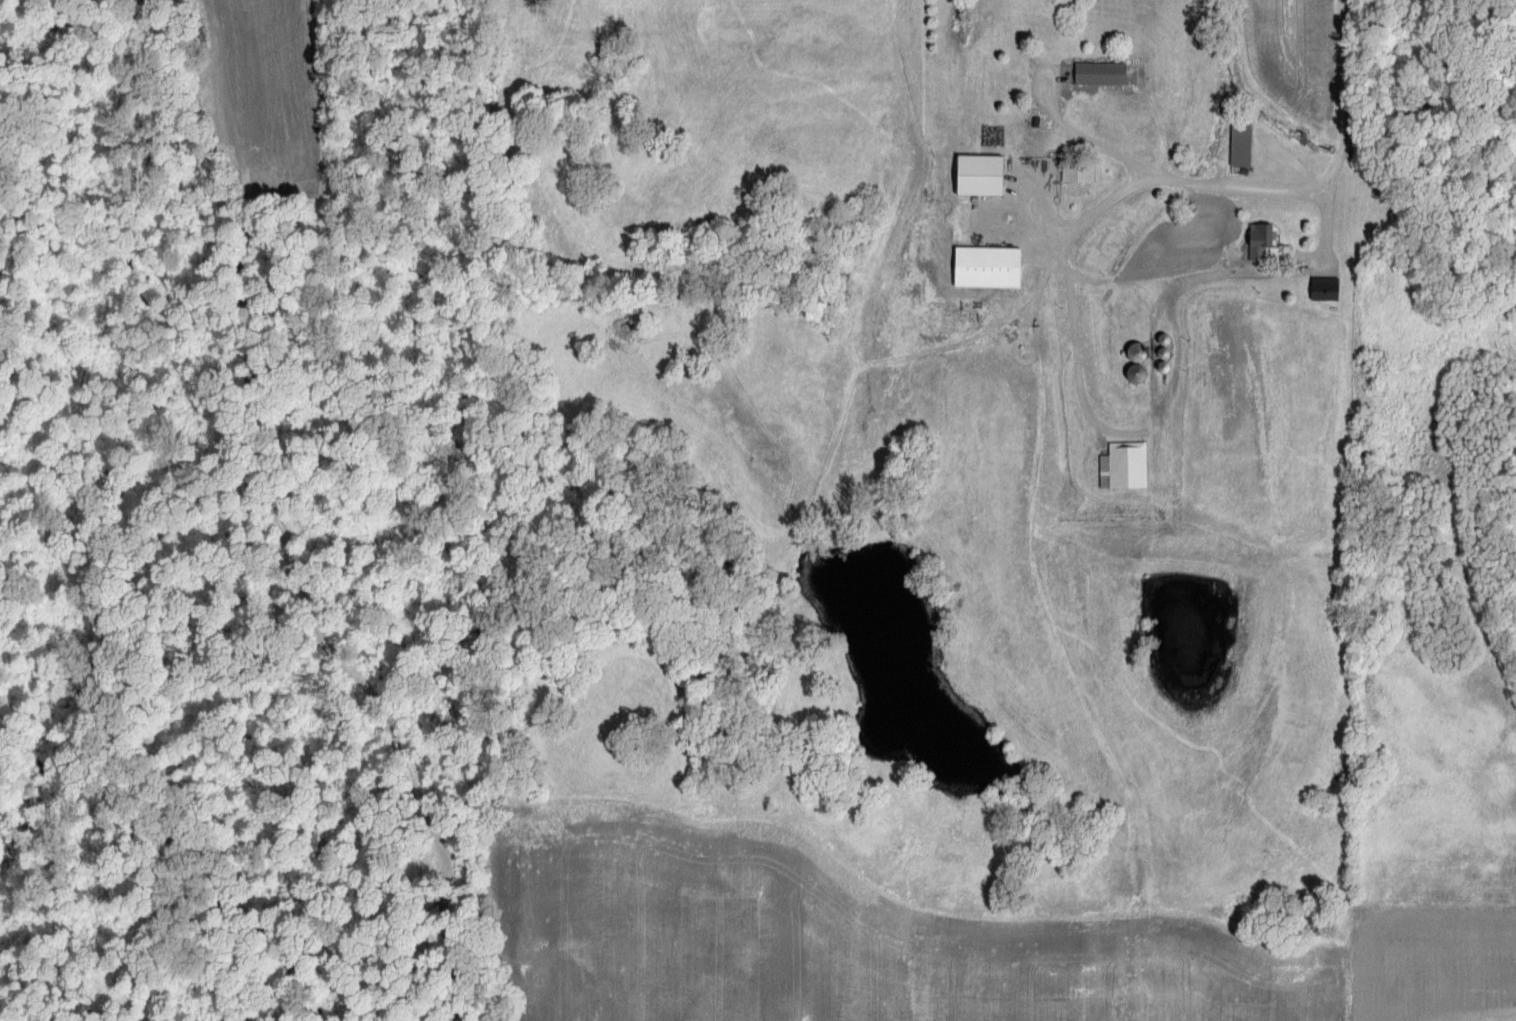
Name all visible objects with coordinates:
building: (1106, 75)
road: (1091, 142)
building: (1245, 147)
building: (1083, 175)
building: (985, 177)
road: (1313, 181)
road: (1329, 222)
building: (1268, 243)
building: (993, 269)
building: (1329, 290)
road: (1072, 299)
building: (1142, 353)
building: (1142, 375)
building: (1128, 468)

